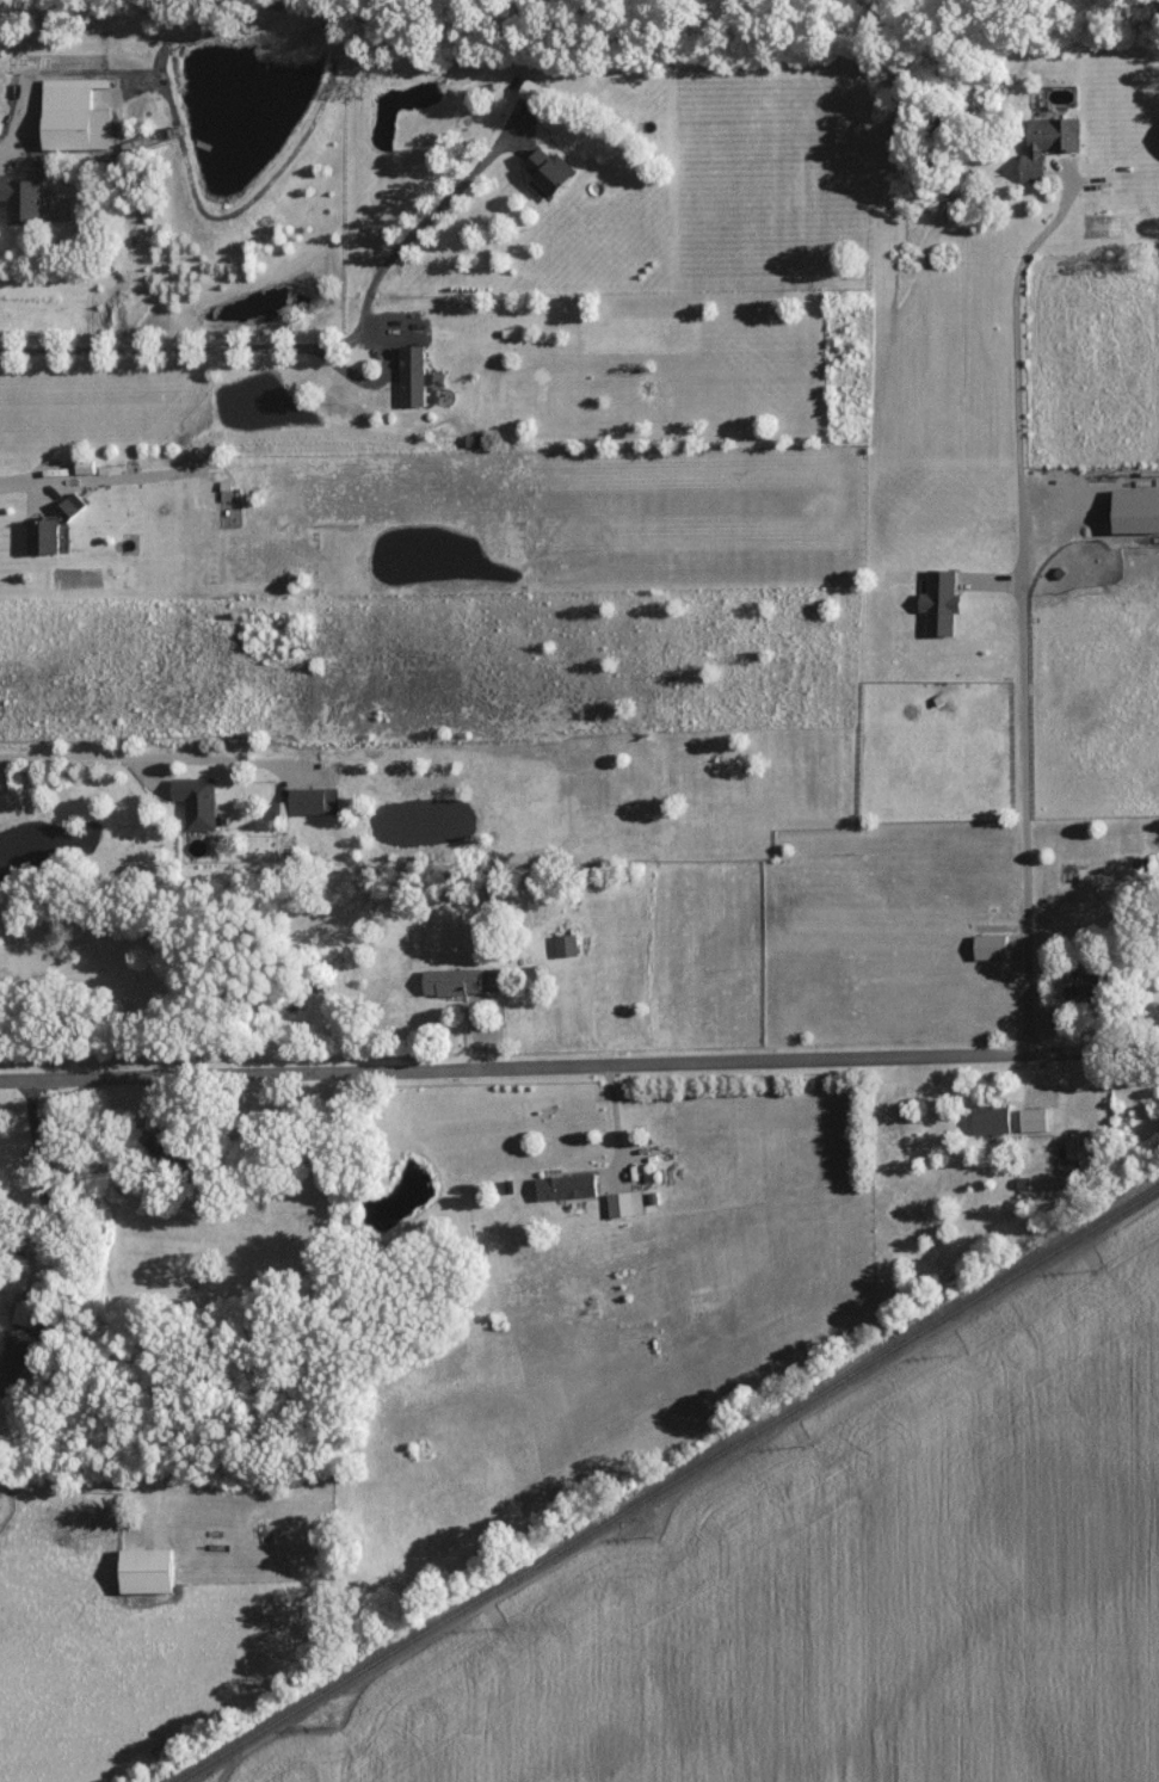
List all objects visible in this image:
building: (534, 90)
road: (30, 103)
building: (76, 113)
building: (1040, 143)
building: (550, 172)
building: (21, 198)
road: (310, 339)
building: (414, 375)
building: (85, 465)
road: (27, 482)
building: (49, 528)
road: (1015, 600)
building: (933, 602)
road: (131, 756)
building: (316, 800)
building: (198, 801)
building: (567, 944)
building: (982, 947)
building: (467, 980)
building: (1069, 982)
road: (579, 1065)
building: (1028, 1118)
building: (985, 1120)
building: (1066, 1147)
road: (43, 1185)
building: (560, 1186)
building: (619, 1203)
building: (13, 1362)
railway: (665, 1484)
building: (152, 1568)

